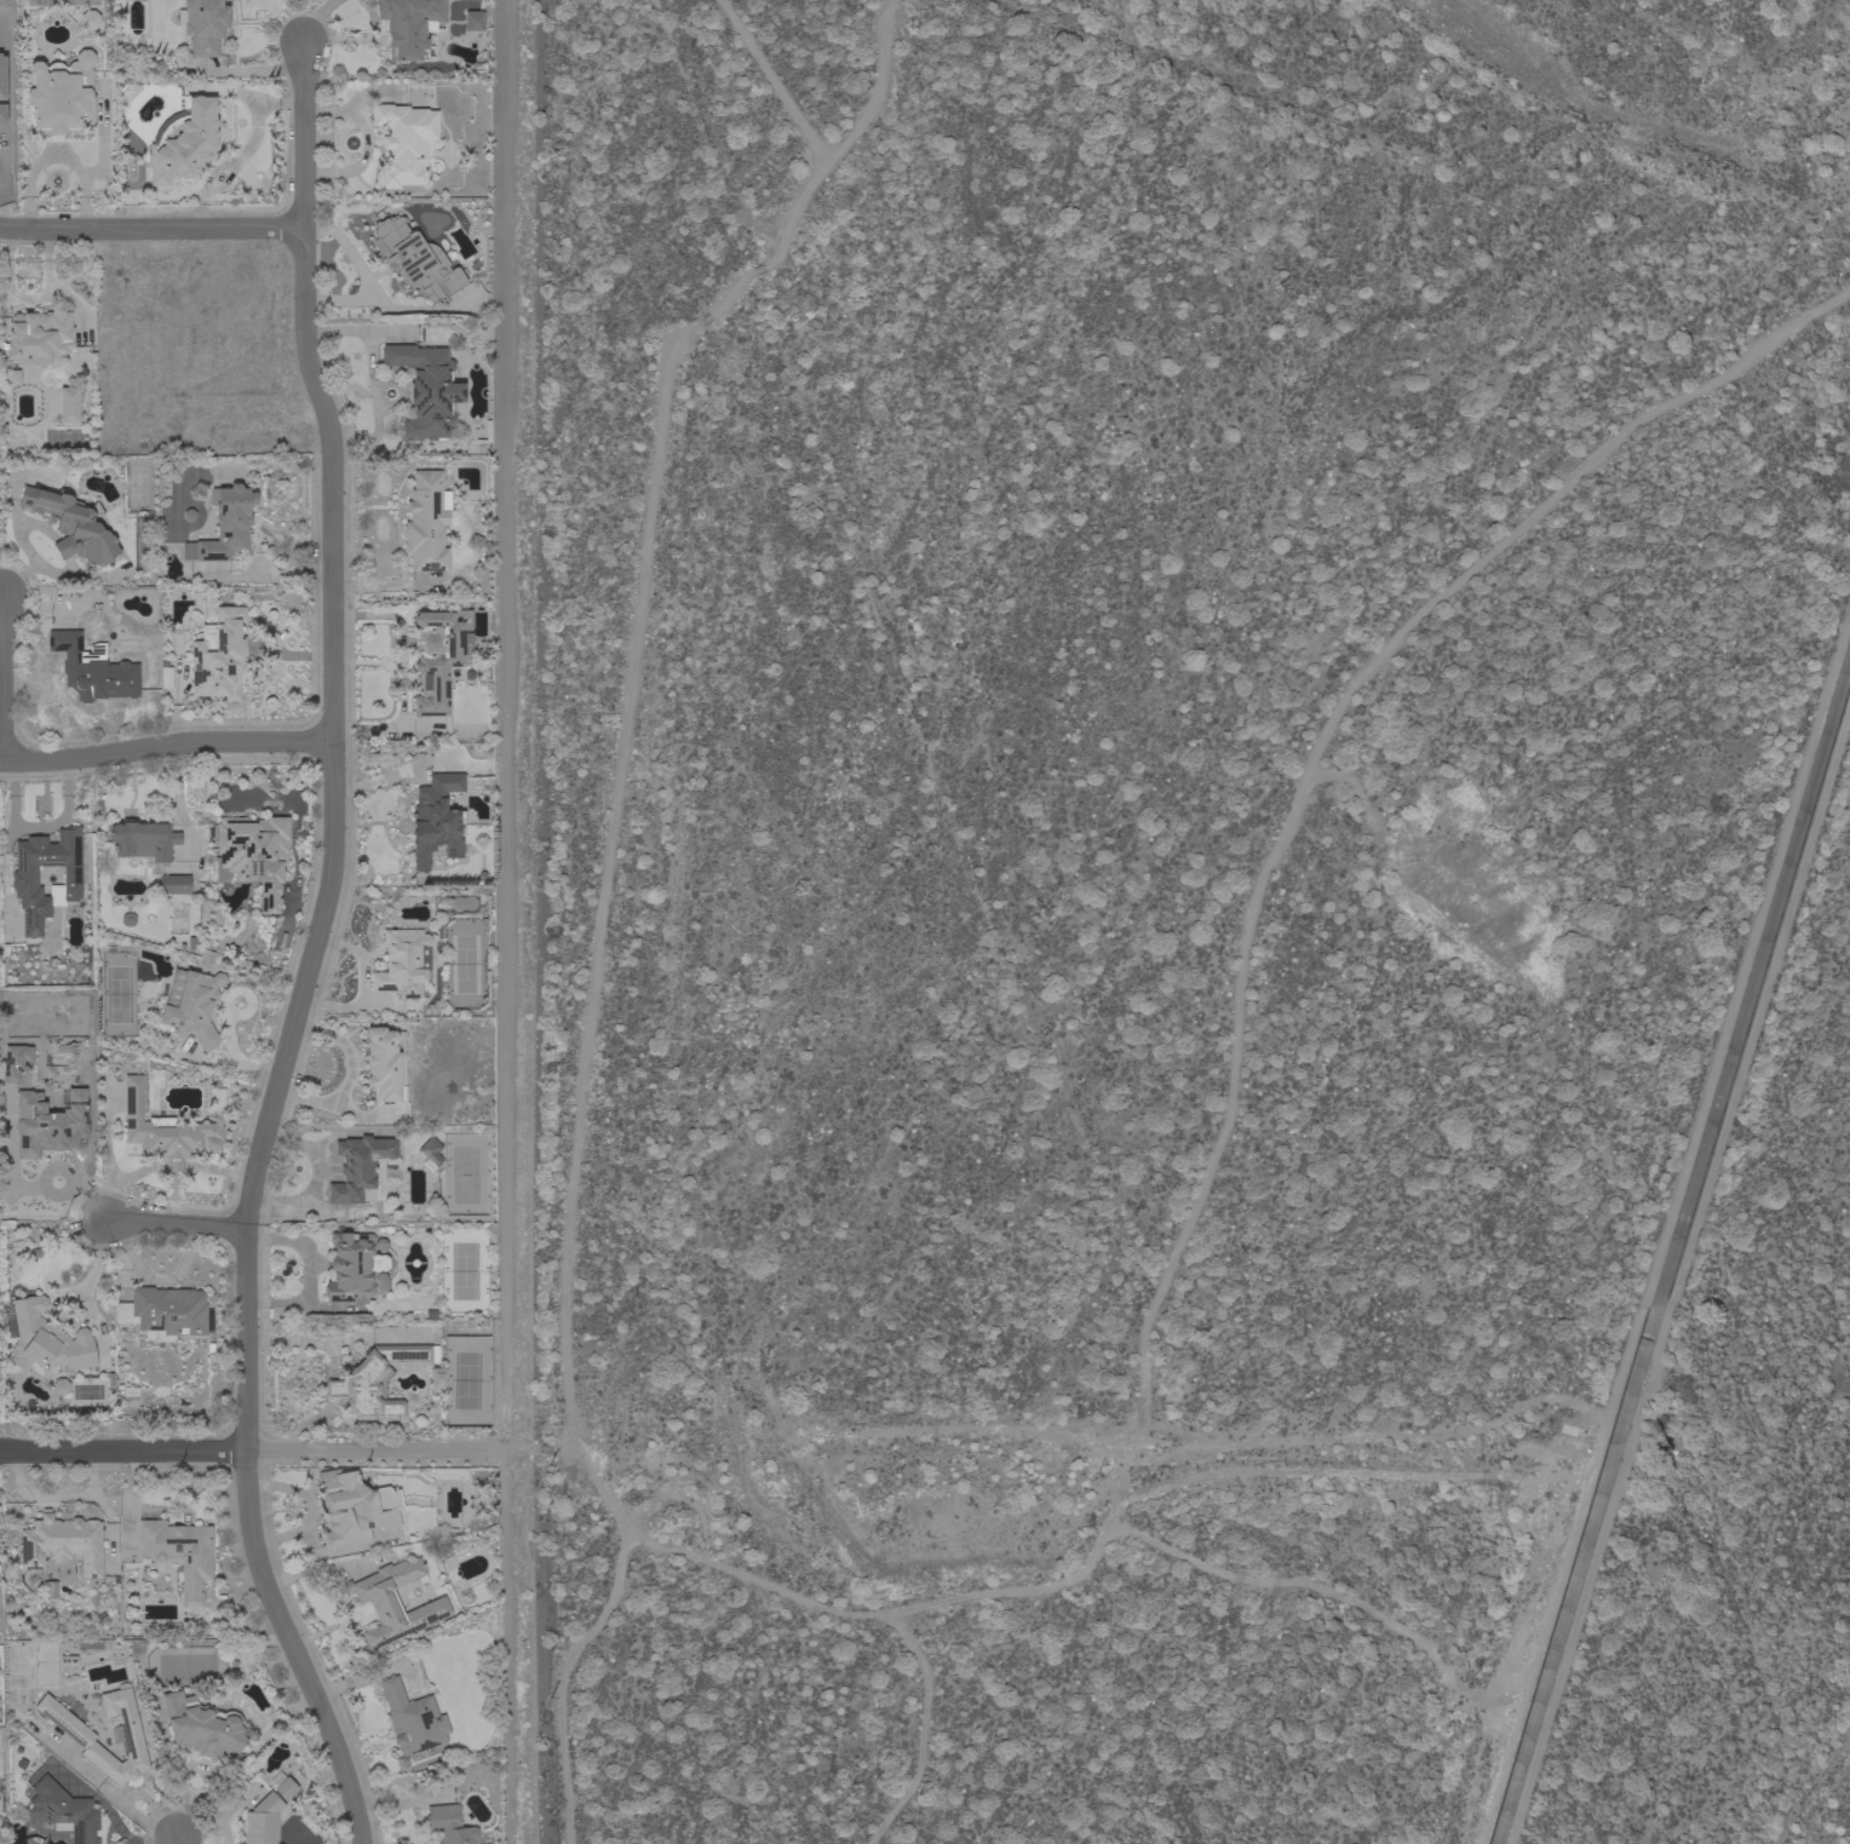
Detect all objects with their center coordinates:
building: (87, 19)
building: (472, 21)
building: (202, 24)
building: (408, 25)
road: (260, 70)
road: (205, 71)
building: (61, 94)
building: (183, 143)
building: (402, 144)
road: (148, 228)
building: (414, 259)
building: (38, 338)
building: (10, 377)
building: (426, 390)
building: (68, 404)
building: (426, 521)
building: (71, 525)
building: (224, 525)
building: (219, 656)
building: (437, 657)
building: (91, 668)
road: (4, 676)
road: (166, 743)
building: (436, 821)
building: (148, 851)
building: (252, 855)
building: (23, 878)
road: (315, 954)
building: (402, 963)
building: (191, 1006)
building: (12, 1061)
building: (385, 1065)
building: (45, 1121)
building: (165, 1130)
building: (430, 1153)
building: (361, 1170)
road: (174, 1224)
building: (352, 1268)
building: (165, 1312)
building: (47, 1339)
building: (437, 1379)
building: (378, 1380)
building: (58, 1386)
road: (260, 1454)
building: (354, 1507)
building: (62, 1544)
building: (178, 1555)
road: (323, 1567)
building: (395, 1602)
building: (412, 1719)
building: (202, 1727)
building: (81, 1739)
building: (281, 1785)
building: (63, 1810)
building: (262, 1821)
building: (450, 1826)
road: (178, 1840)
quarry: (1849, 1843)

